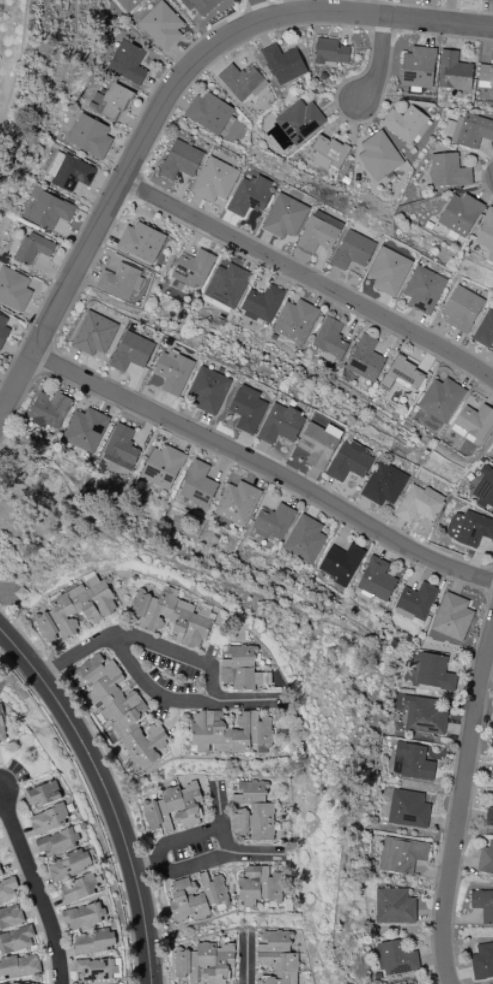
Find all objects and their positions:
building: (488, 0)
building: (128, 4)
building: (201, 5)
road: (260, 10)
road: (377, 16)
building: (161, 26)
building: (330, 52)
road: (377, 61)
building: (127, 62)
building: (283, 64)
building: (418, 67)
building: (454, 72)
building: (485, 75)
building: (242, 81)
building: (111, 101)
building: (209, 113)
building: (299, 121)
building: (406, 124)
building: (468, 130)
building: (90, 136)
building: (328, 152)
building: (379, 156)
building: (181, 160)
building: (68, 171)
building: (448, 171)
building: (215, 180)
building: (250, 195)
road: (111, 202)
building: (50, 210)
building: (460, 214)
building: (285, 216)
building: (319, 232)
building: (486, 233)
building: (140, 243)
building: (33, 248)
building: (353, 251)
building: (192, 268)
building: (388, 271)
road: (309, 279)
building: (120, 281)
building: (226, 285)
building: (13, 289)
building: (423, 289)
building: (262, 303)
building: (462, 309)
building: (295, 321)
building: (3, 329)
building: (485, 329)
building: (94, 333)
building: (330, 339)
building: (131, 351)
building: (365, 359)
building: (173, 372)
building: (404, 374)
building: (208, 390)
building: (441, 399)
building: (247, 409)
building: (49, 410)
building: (474, 422)
building: (281, 424)
building: (85, 429)
building: (319, 444)
building: (120, 447)
building: (349, 461)
building: (162, 466)
road: (263, 466)
building: (198, 484)
building: (384, 484)
building: (484, 488)
building: (237, 503)
building: (418, 504)
building: (272, 523)
building: (469, 528)
building: (304, 539)
building: (340, 563)
building: (376, 579)
building: (416, 601)
building: (76, 609)
building: (452, 617)
building: (171, 618)
road: (175, 651)
building: (239, 667)
building: (434, 672)
road: (151, 688)
building: (122, 710)
building: (424, 715)
building: (1, 730)
building: (229, 732)
building: (411, 762)
building: (42, 794)
road: (105, 795)
road: (460, 806)
building: (174, 808)
building: (408, 809)
building: (253, 811)
road: (220, 817)
building: (489, 817)
building: (48, 819)
road: (179, 840)
building: (57, 842)
building: (402, 854)
road: (208, 858)
building: (486, 858)
building: (69, 865)
building: (0, 875)
building: (259, 885)
road: (35, 886)
building: (7, 889)
building: (77, 889)
building: (196, 896)
building: (483, 904)
building: (395, 906)
building: (10, 915)
building: (82, 916)
building: (16, 940)
building: (93, 942)
building: (276, 956)
building: (395, 957)
road: (246, 958)
building: (483, 960)
building: (205, 962)
building: (19, 966)
building: (95, 969)
building: (11, 983)
building: (410, 983)

